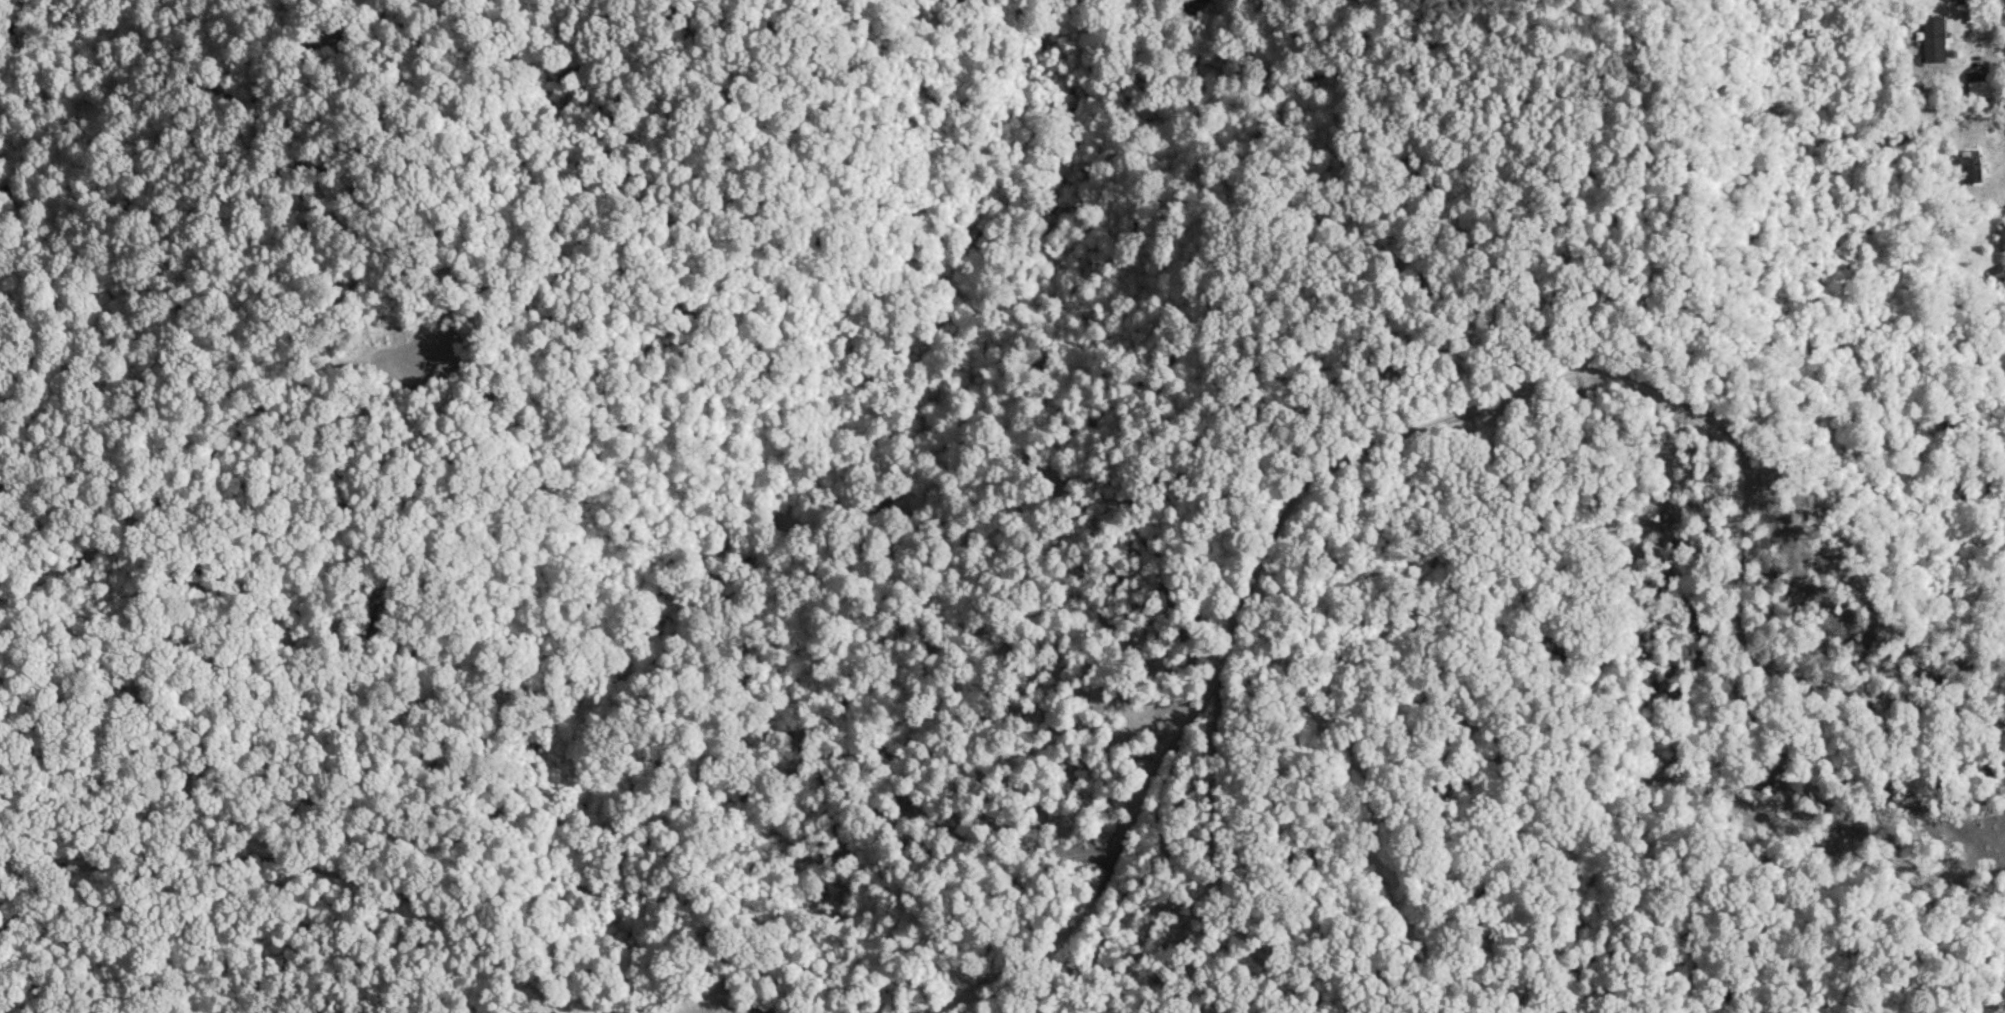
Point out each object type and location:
building: (1932, 39)
building: (1976, 82)
building: (1965, 168)
building: (2000, 238)
building: (1995, 274)

